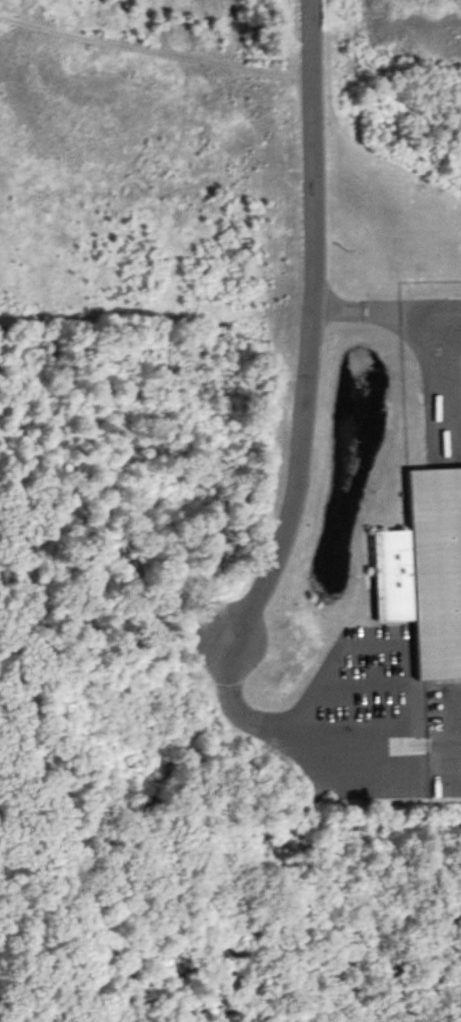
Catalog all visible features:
building: (408, 7)
road: (386, 312)
road: (310, 330)
building: (425, 573)
road: (312, 739)

